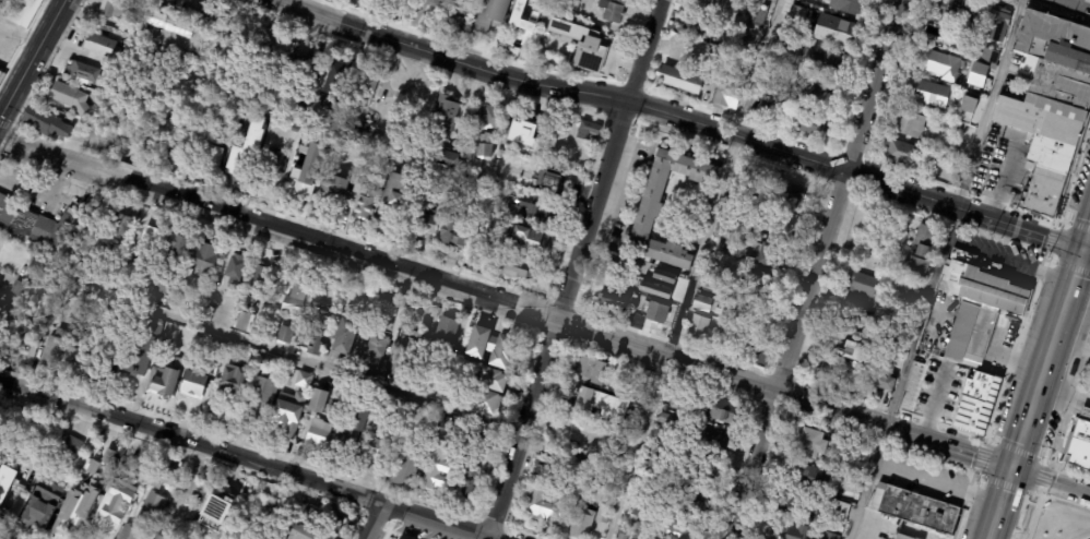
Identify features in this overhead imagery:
building: (371, 0)
building: (390, 1)
building: (436, 3)
building: (470, 4)
building: (709, 4)
road: (1074, 4)
building: (846, 7)
building: (613, 11)
building: (936, 11)
building: (21, 12)
building: (216, 14)
building: (793, 14)
building: (491, 15)
building: (145, 16)
building: (749, 17)
building: (972, 17)
building: (457, 26)
building: (523, 26)
building: (998, 27)
road: (1, 28)
building: (839, 32)
building: (704, 33)
road: (21, 34)
building: (948, 39)
building: (928, 40)
building: (580, 44)
building: (785, 45)
building: (103, 47)
building: (281, 52)
building: (987, 55)
road: (33, 58)
building: (305, 63)
building: (829, 67)
building: (938, 67)
building: (0, 69)
building: (81, 71)
building: (337, 72)
building: (976, 74)
building: (680, 82)
building: (964, 86)
building: (366, 89)
building: (261, 92)
building: (817, 93)
building: (928, 96)
building: (67, 99)
building: (726, 99)
building: (965, 106)
building: (1050, 107)
building: (300, 109)
building: (348, 109)
building: (129, 111)
building: (769, 111)
building: (443, 118)
building: (40, 119)
road: (690, 119)
building: (110, 121)
building: (807, 124)
building: (364, 128)
building: (911, 128)
building: (958, 129)
building: (488, 130)
building: (523, 131)
building: (589, 131)
building: (325, 134)
building: (342, 144)
building: (245, 149)
building: (181, 151)
building: (902, 155)
road: (52, 158)
building: (448, 159)
building: (211, 161)
building: (384, 163)
building: (272, 165)
road: (110, 177)
building: (745, 177)
building: (305, 178)
building: (550, 182)
building: (334, 185)
building: (393, 192)
building: (789, 193)
building: (364, 204)
building: (733, 204)
building: (649, 212)
building: (522, 213)
building: (422, 221)
building: (780, 221)
building: (33, 224)
building: (119, 226)
building: (734, 232)
building: (451, 233)
building: (476, 235)
building: (147, 240)
building: (528, 241)
road: (1088, 241)
building: (175, 245)
traffic signals: (1086, 249)
road: (1088, 249)
building: (922, 253)
building: (768, 255)
building: (961, 256)
building: (202, 260)
road: (576, 268)
building: (234, 269)
building: (519, 269)
building: (645, 269)
road: (694, 269)
road: (816, 269)
road: (934, 269)
building: (260, 277)
building: (678, 283)
building: (760, 284)
building: (863, 285)
building: (19, 288)
building: (985, 289)
building: (162, 294)
road: (4, 298)
building: (295, 300)
building: (614, 301)
building: (910, 302)
building: (702, 304)
building: (736, 311)
building: (208, 315)
building: (858, 315)
building: (889, 316)
road: (566, 321)
building: (698, 330)
building: (318, 331)
building: (446, 333)
building: (285, 335)
building: (346, 336)
building: (971, 336)
building: (216, 345)
building: (379, 346)
building: (490, 346)
road: (1073, 346)
building: (54, 347)
building: (141, 347)
building: (408, 354)
building: (757, 354)
building: (866, 356)
building: (72, 359)
road: (1050, 359)
road: (317, 364)
building: (590, 370)
building: (950, 372)
building: (838, 373)
building: (312, 378)
road: (3, 379)
building: (304, 379)
building: (163, 380)
building: (233, 380)
building: (491, 380)
building: (327, 383)
building: (885, 383)
building: (193, 385)
building: (643, 385)
building: (425, 386)
building: (264, 392)
building: (449, 396)
building: (318, 402)
building: (579, 402)
building: (975, 402)
building: (487, 403)
building: (600, 404)
railway: (1046, 406)
building: (402, 407)
building: (627, 407)
building: (724, 410)
building: (431, 414)
building: (665, 420)
building: (14, 422)
building: (284, 422)
building: (442, 433)
building: (33, 434)
building: (318, 434)
building: (348, 439)
building: (713, 443)
building: (1081, 443)
building: (72, 444)
building: (810, 445)
building: (381, 451)
road: (249, 458)
building: (660, 458)
building: (855, 462)
building: (591, 469)
traffic signals: (1015, 469)
building: (405, 471)
building: (435, 471)
building: (809, 476)
building: (699, 478)
road: (938, 478)
building: (163, 479)
building: (4, 480)
building: (466, 482)
road: (1052, 482)
building: (849, 489)
building: (116, 501)
building: (790, 501)
building: (42, 503)
road: (1003, 504)
building: (546, 505)
building: (271, 506)
building: (691, 506)
building: (74, 508)
building: (217, 510)
building: (915, 510)
building: (838, 511)
building: (1036, 511)
building: (635, 512)
building: (144, 516)
building: (605, 519)
building: (10, 520)
building: (325, 520)
road: (378, 520)
building: (582, 523)
building: (785, 530)
building: (680, 531)
building: (303, 534)
building: (623, 536)
building: (161, 537)
building: (903, 537)
track: (1087, 537)
building: (834, 538)

